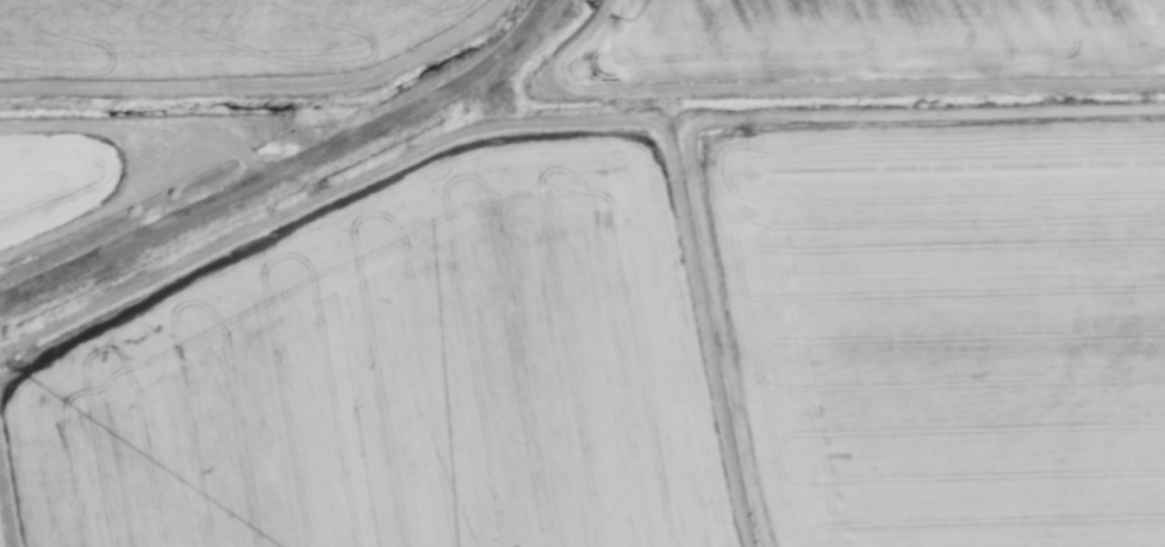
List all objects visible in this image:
road: (269, 162)

